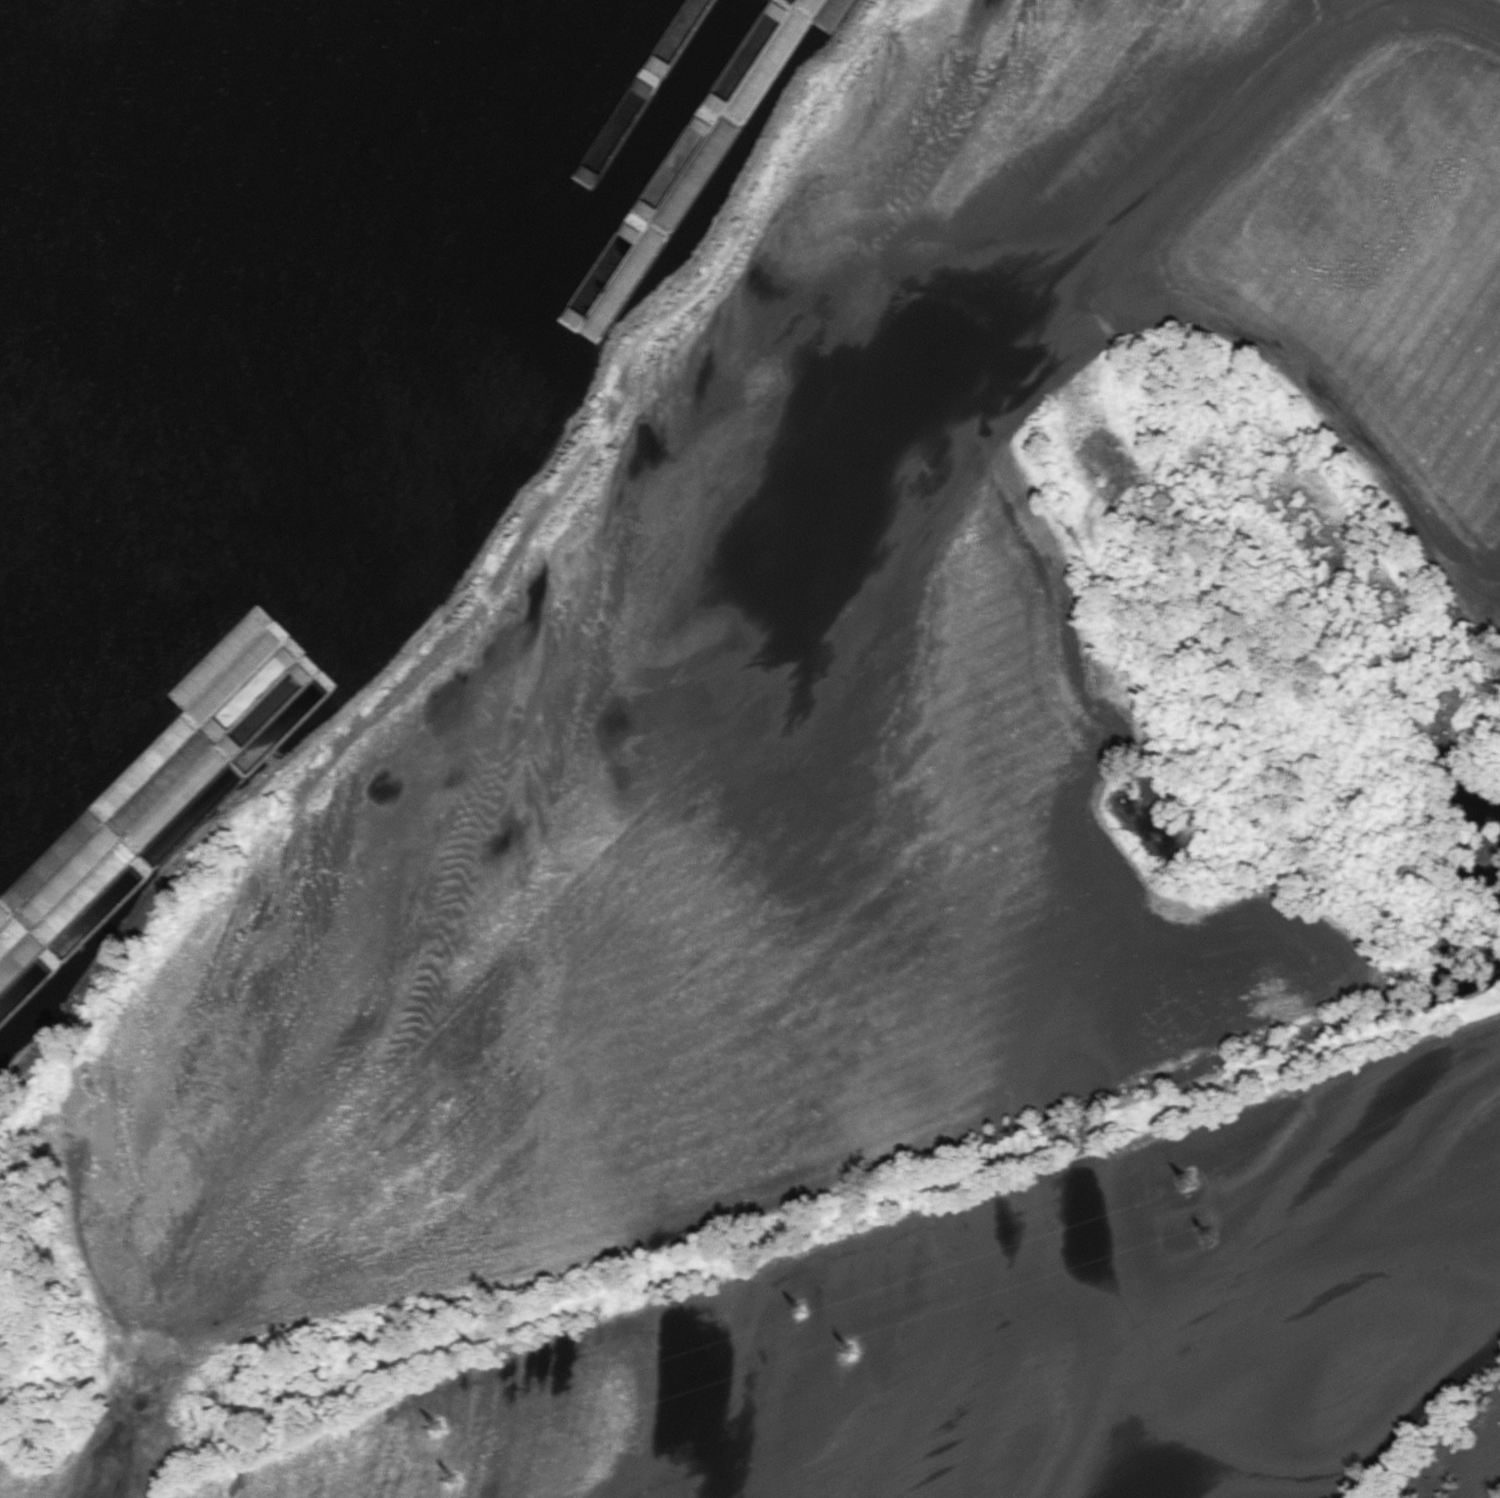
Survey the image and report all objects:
building: (796, 1)
building: (813, 8)
building: (753, 58)
building: (266, 691)
building: (206, 713)
building: (188, 734)
building: (143, 789)
building: (152, 849)
crop: (854, 854)
building: (74, 870)
building: (11, 943)
power tower: (1184, 1186)
power tower: (1206, 1241)
power tower: (798, 1321)
power tower: (854, 1358)
power tower: (436, 1432)
power tower: (451, 1482)

